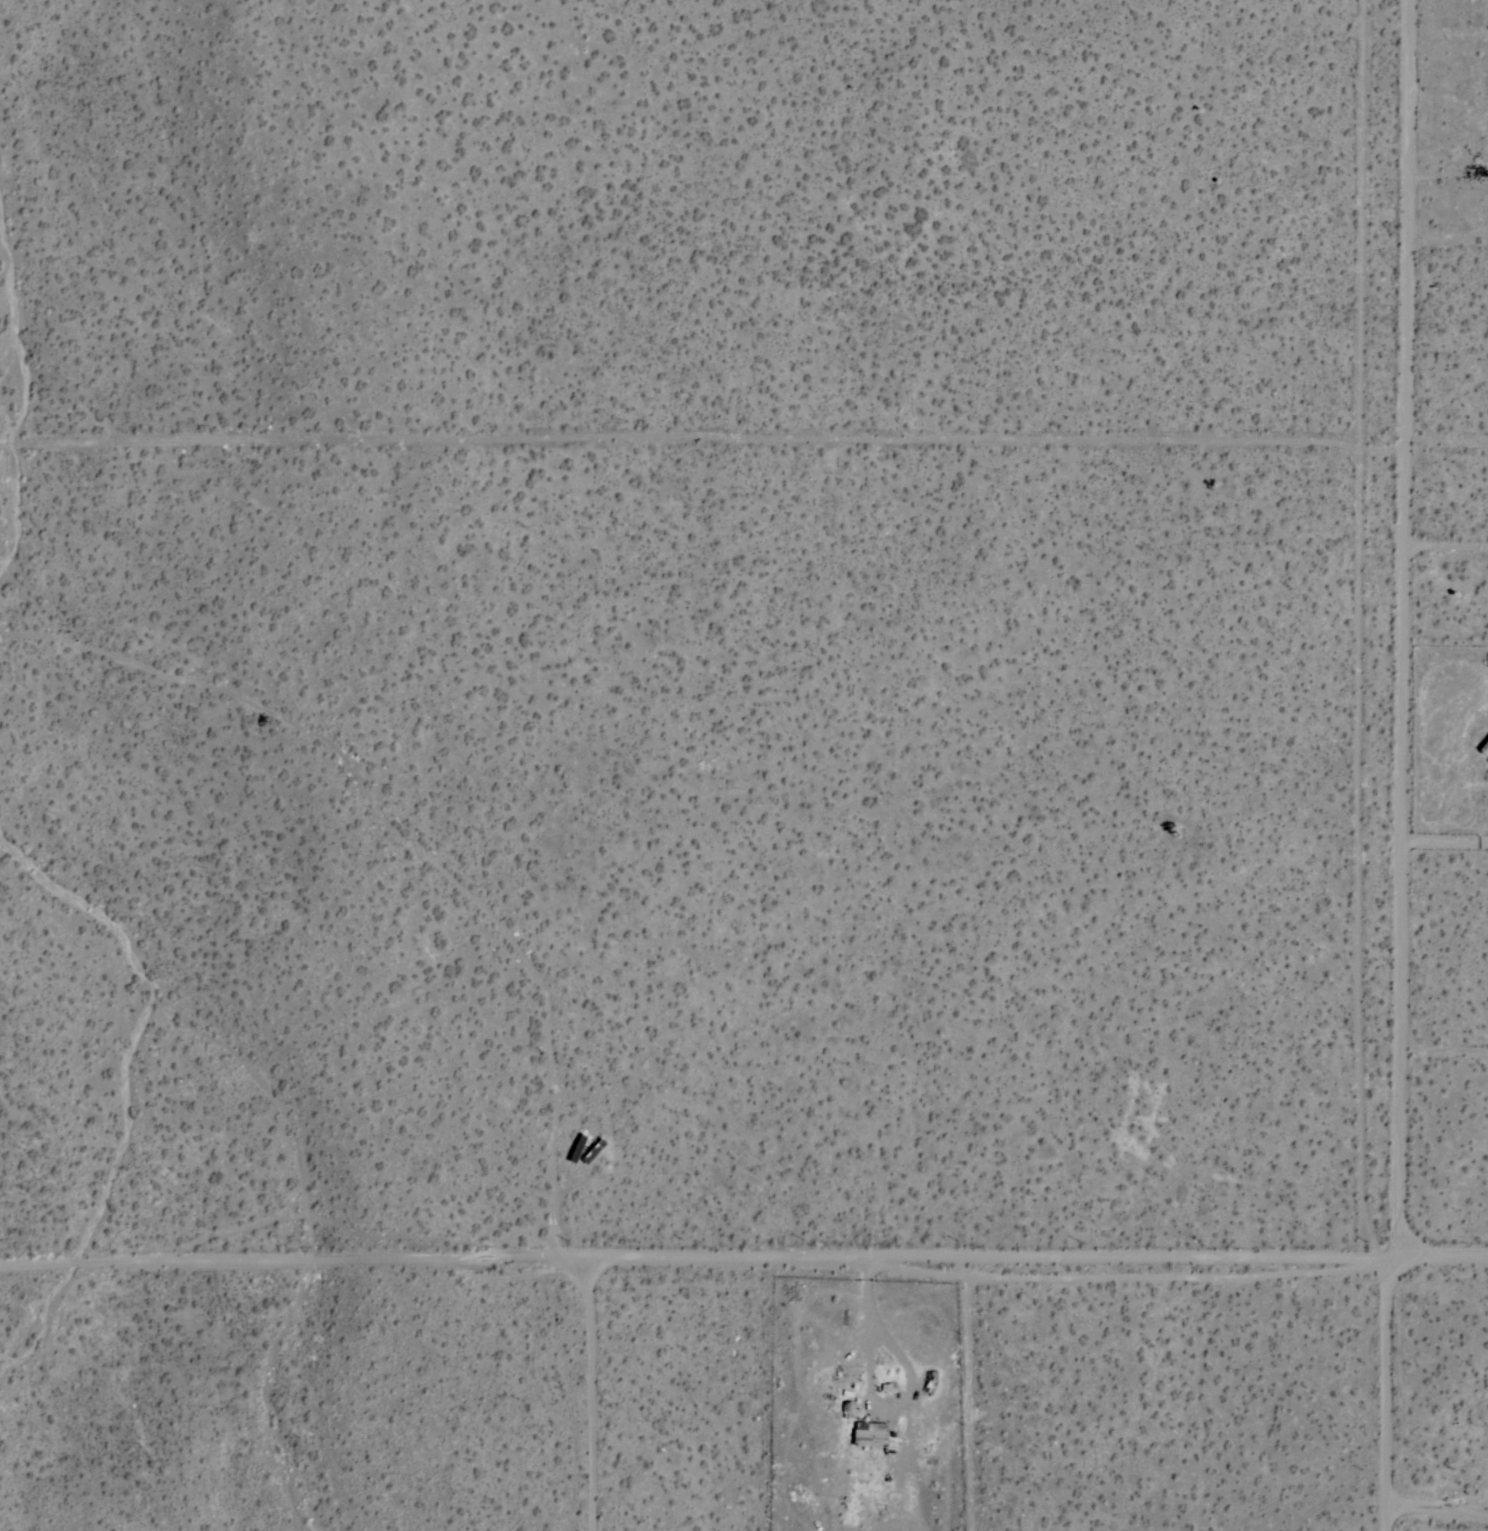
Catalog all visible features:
road: (1399, 765)
road: (1445, 840)
road: (743, 1263)
road: (873, 1393)
road: (589, 1398)
building: (870, 1436)
road: (1439, 1506)

